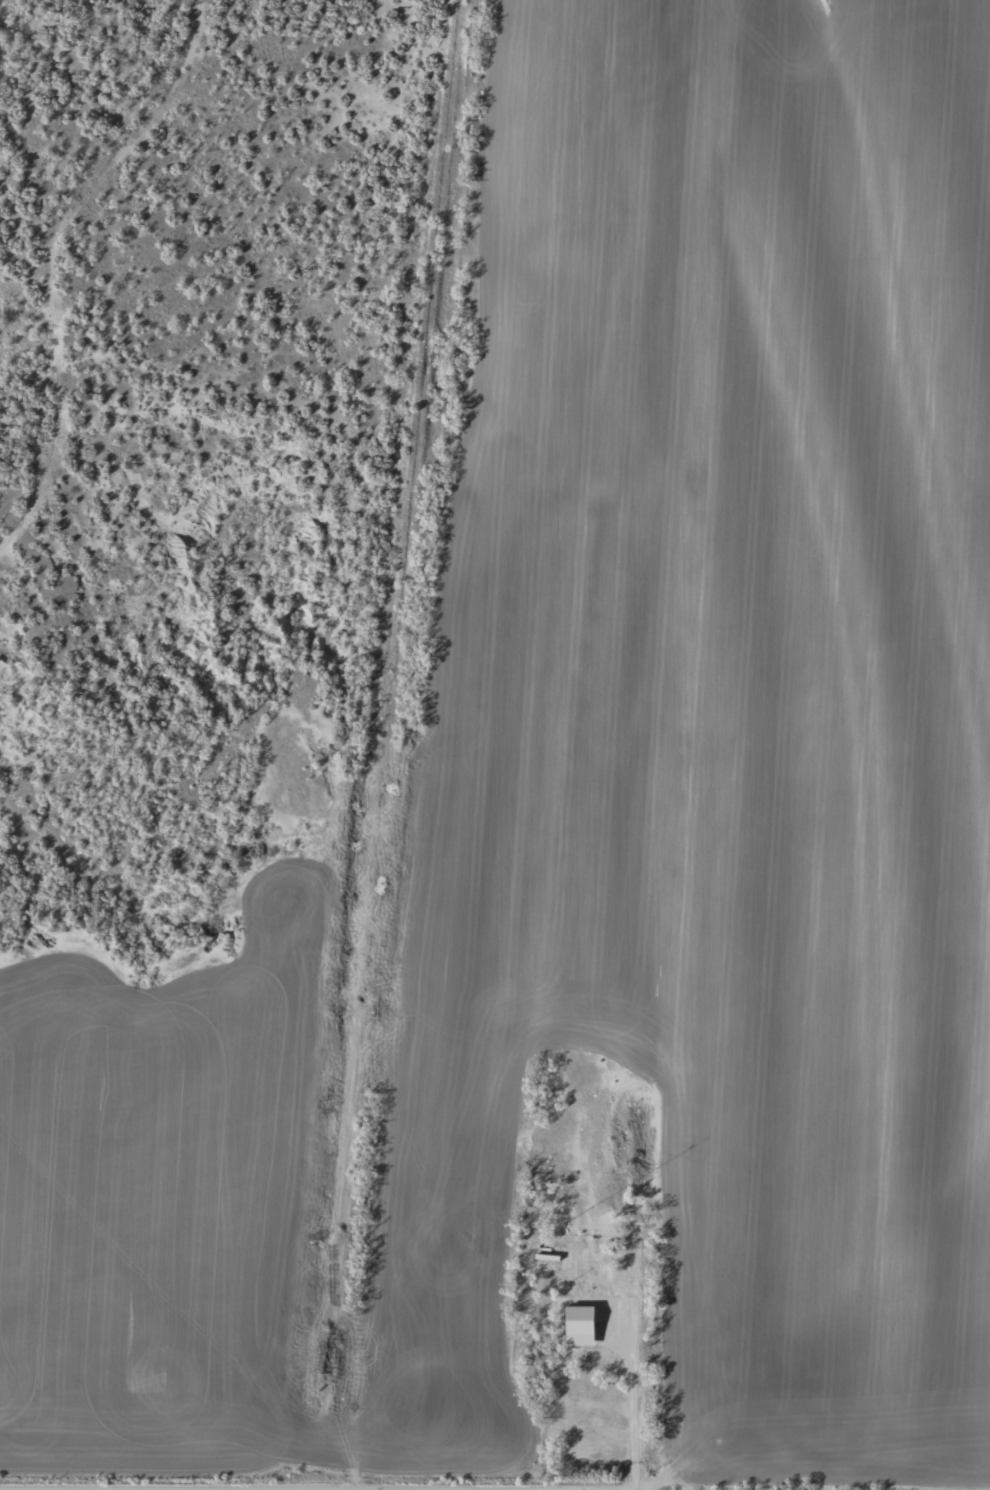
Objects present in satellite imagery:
railway: (387, 745)
road: (581, 751)

